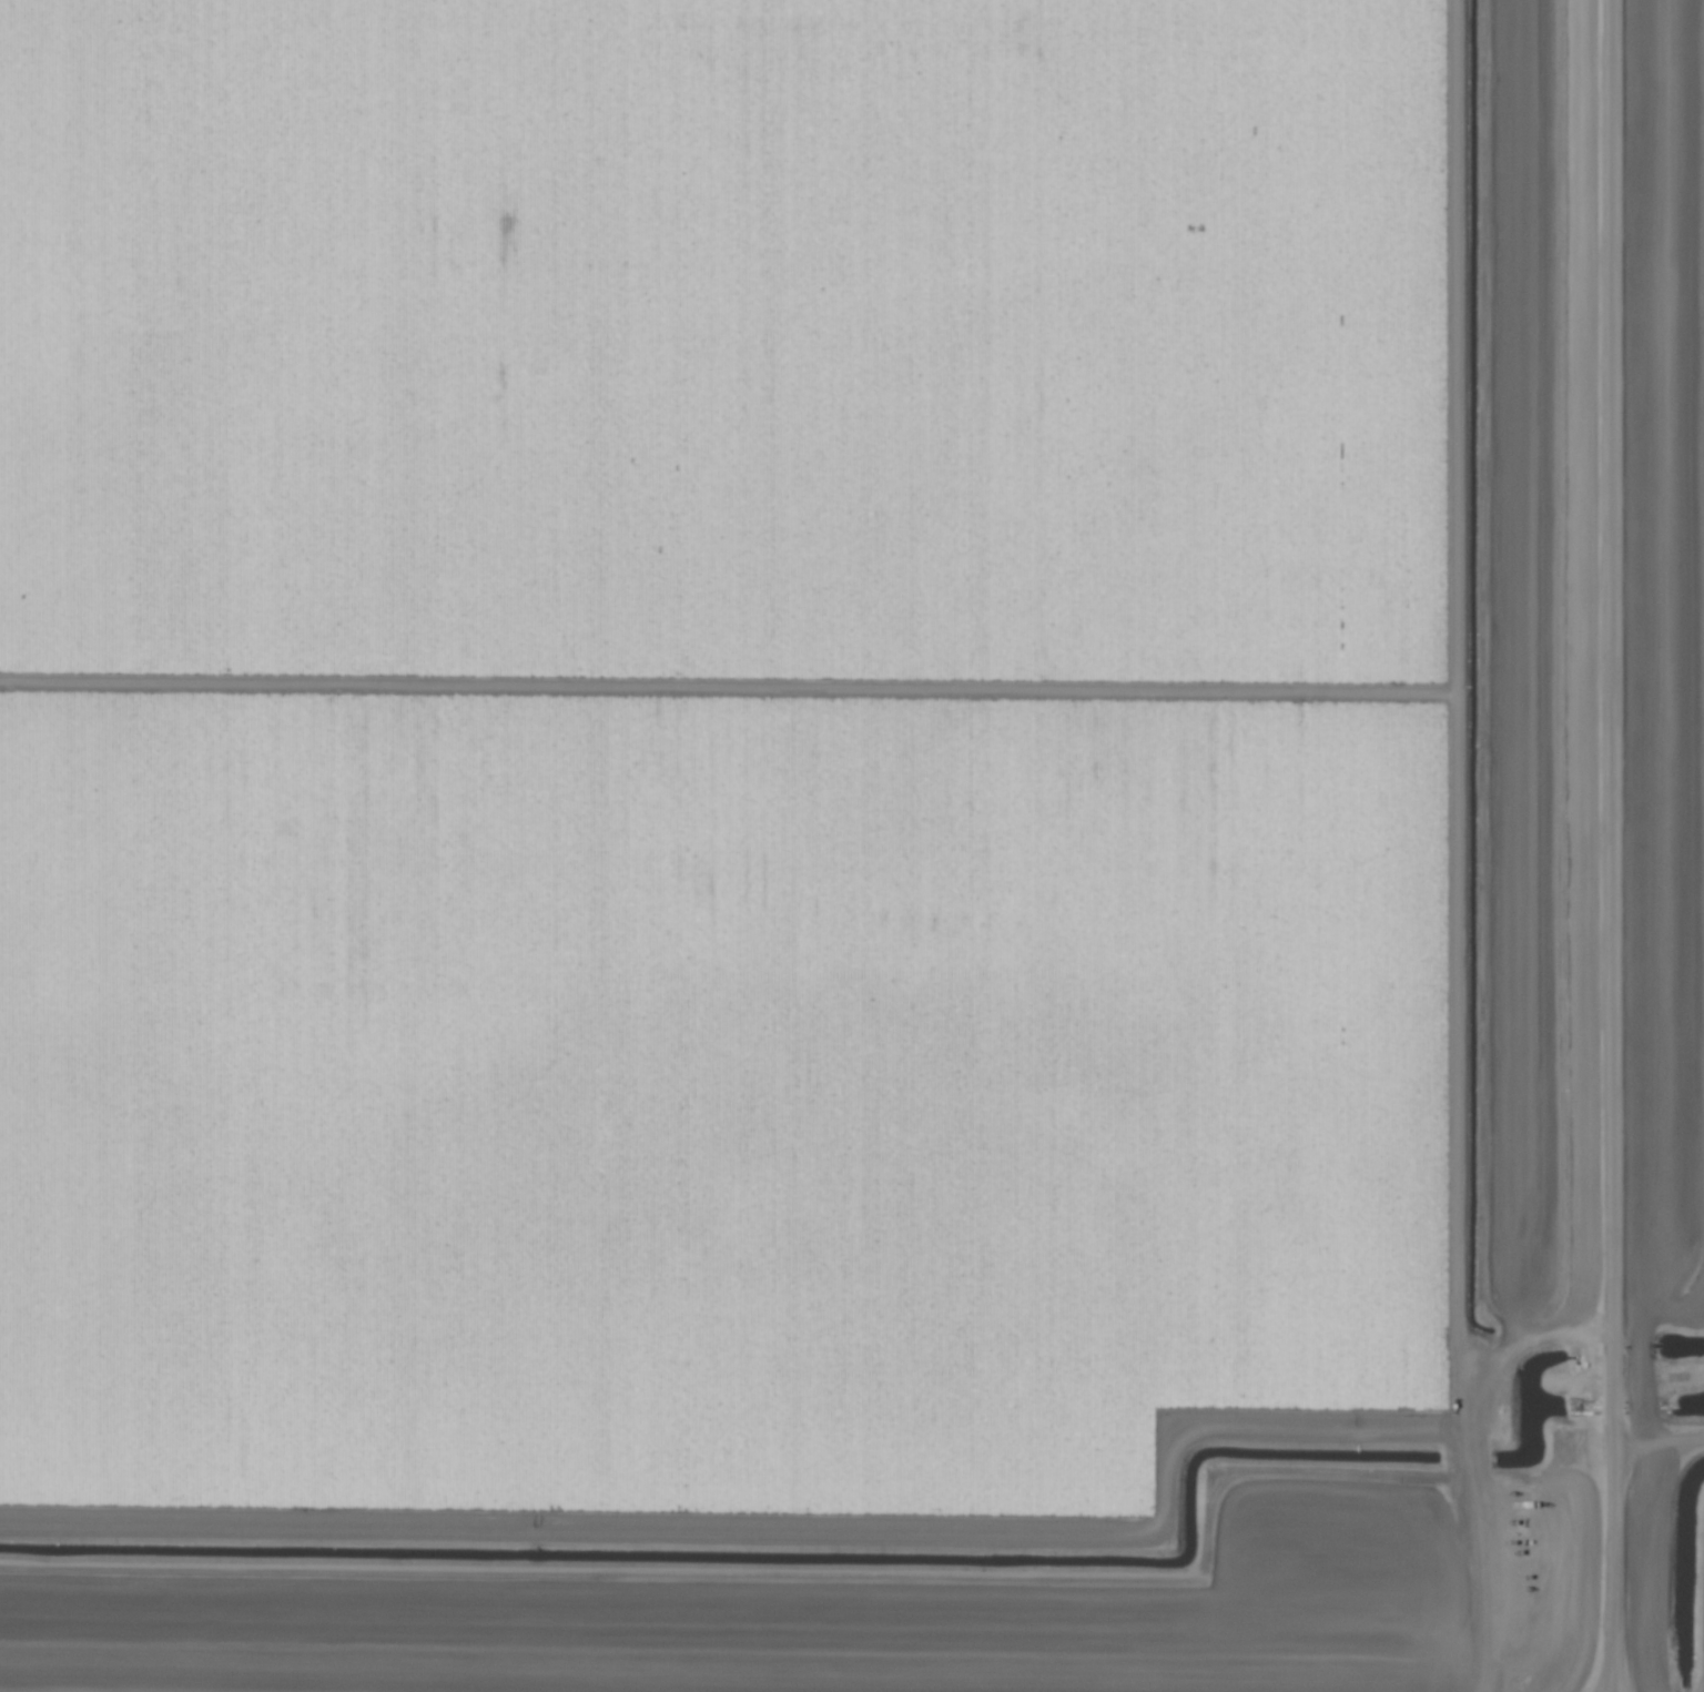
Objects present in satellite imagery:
crop: (852, 845)
road: (1595, 845)

